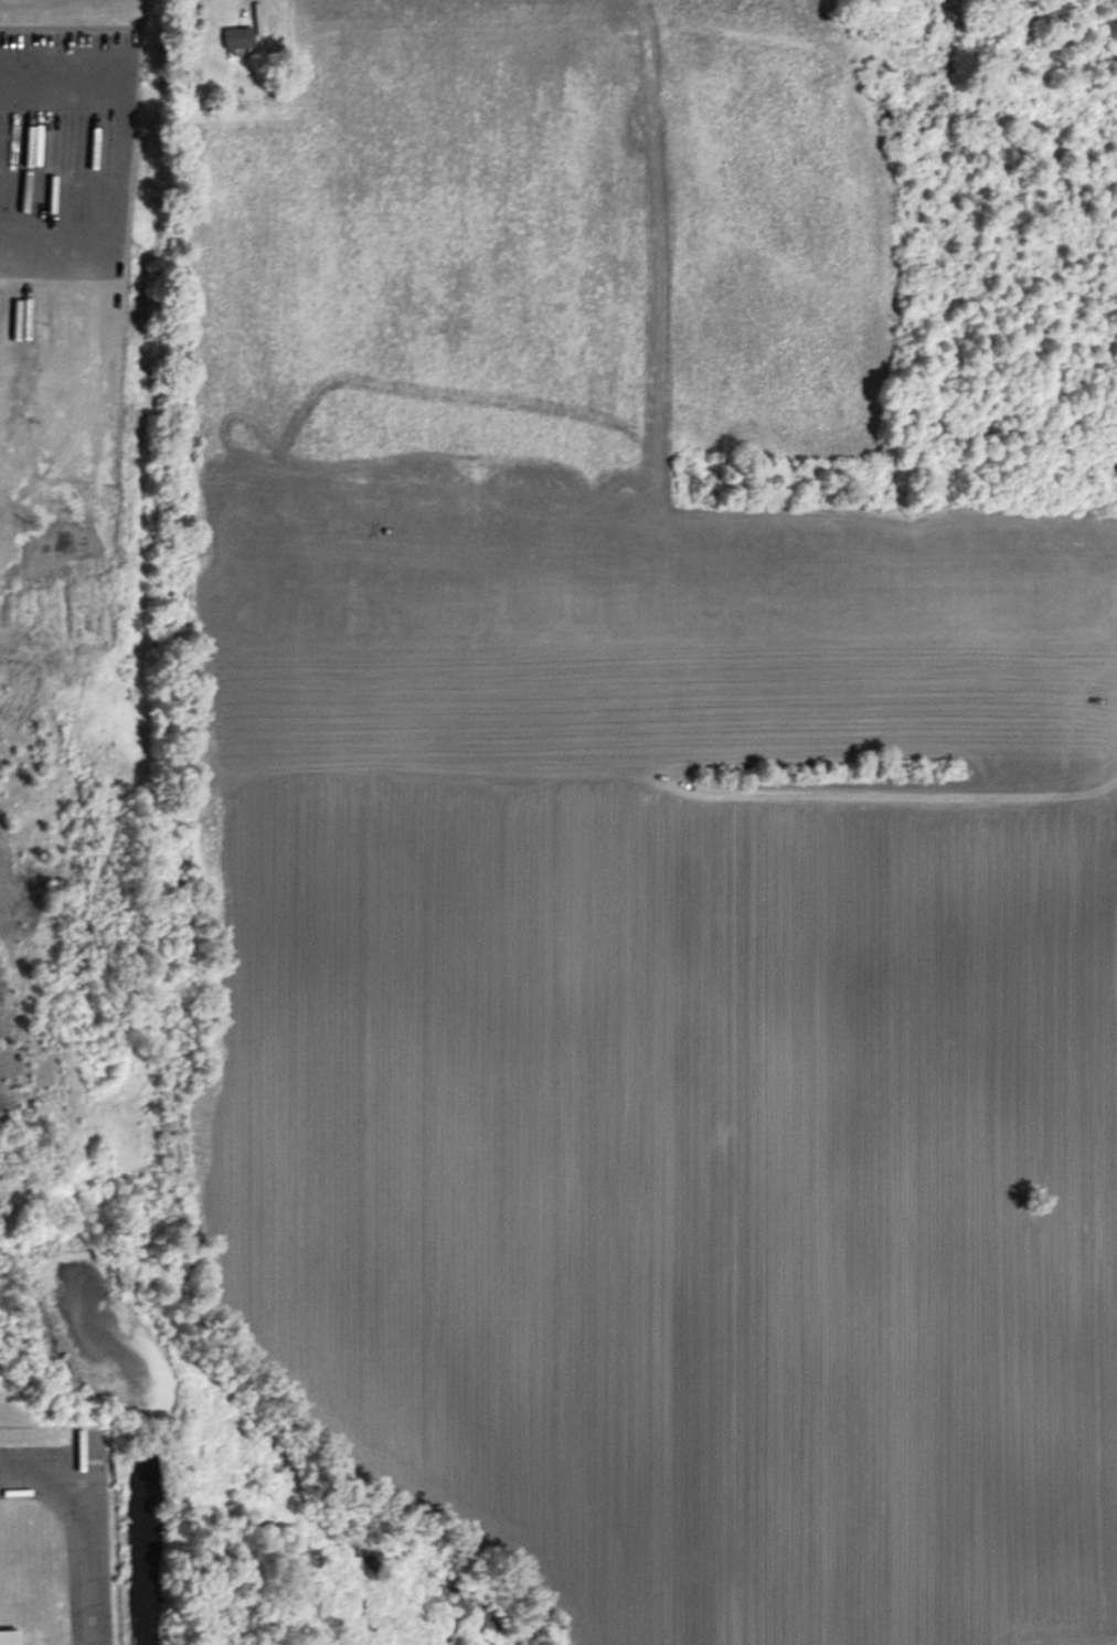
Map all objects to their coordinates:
building: (237, 39)
road: (57, 76)
road: (81, 1526)
building: (9, 1637)

